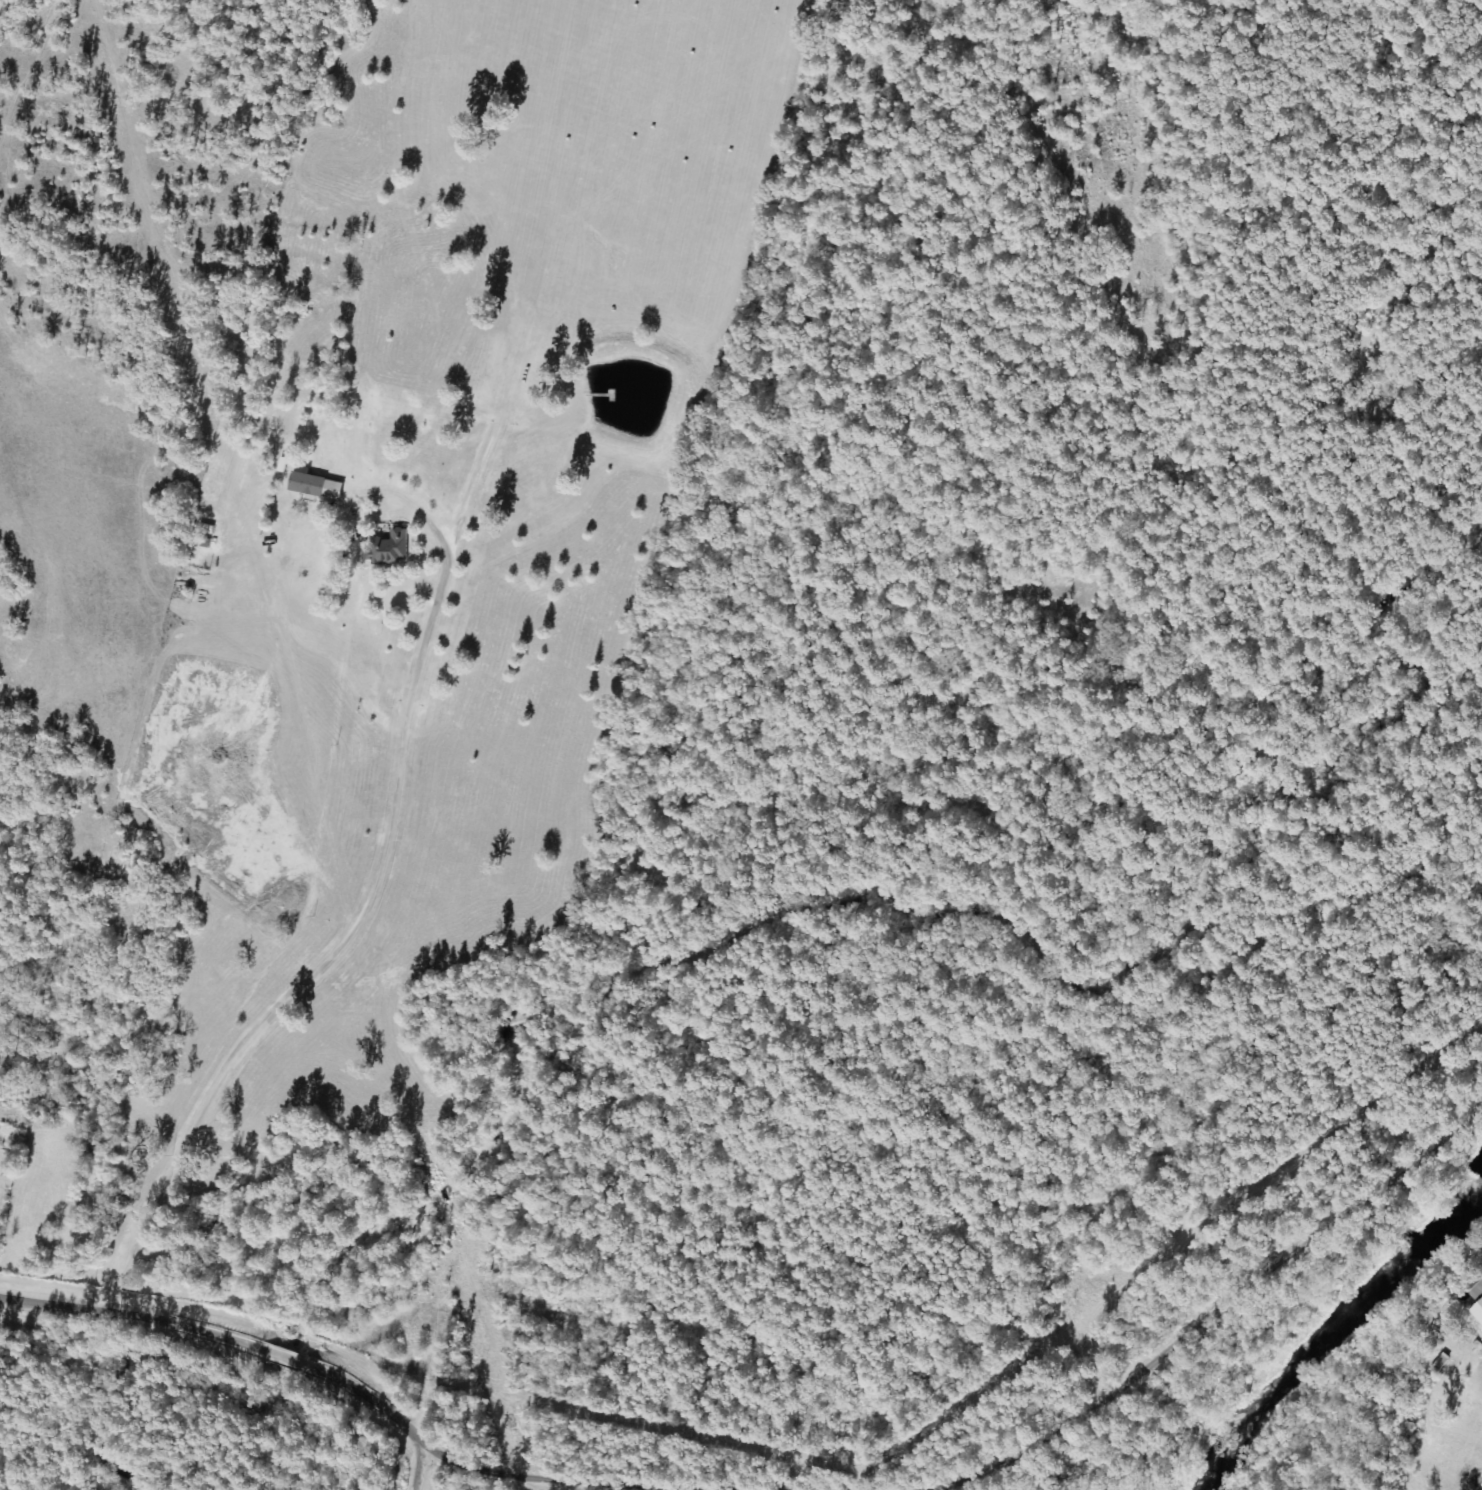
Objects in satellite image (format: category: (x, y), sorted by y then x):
building: (328, 398)
building: (200, 542)
building: (386, 548)
road: (357, 910)
road: (1309, 1169)
building: (1474, 1291)
building: (398, 1337)
building: (1437, 1363)
road: (213, 1394)
road: (1116, 1415)

